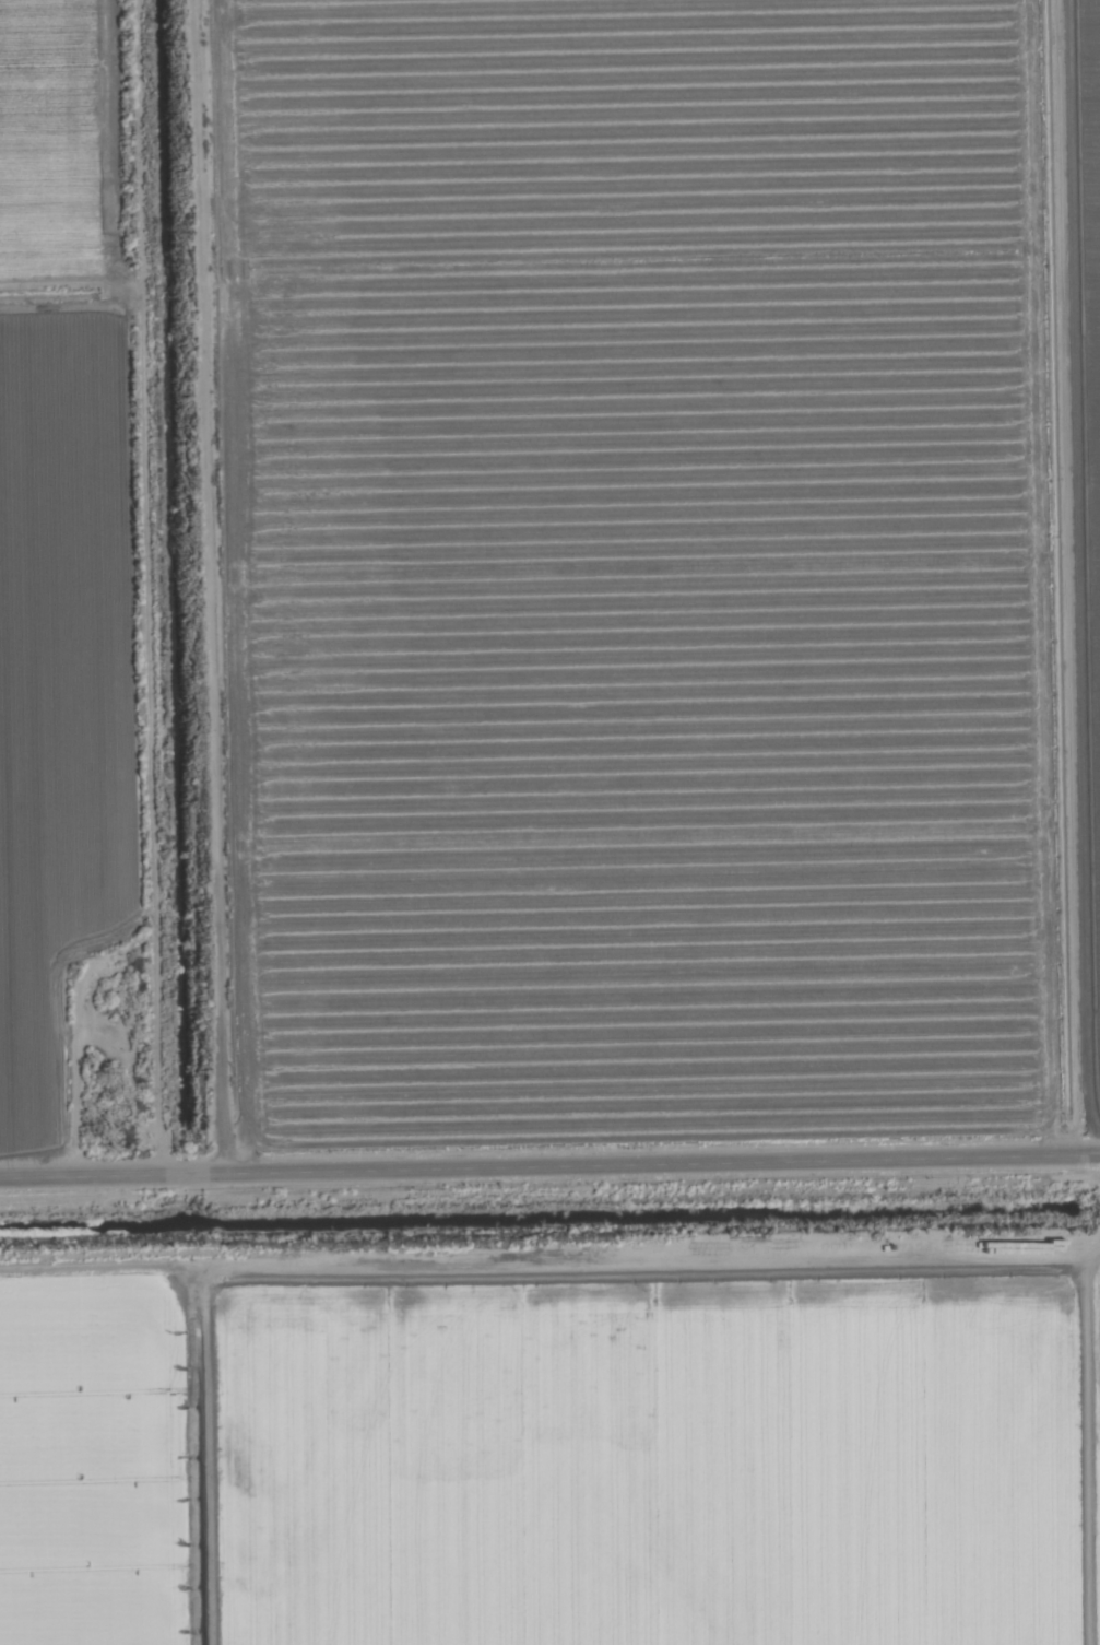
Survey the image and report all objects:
road: (549, 1182)

